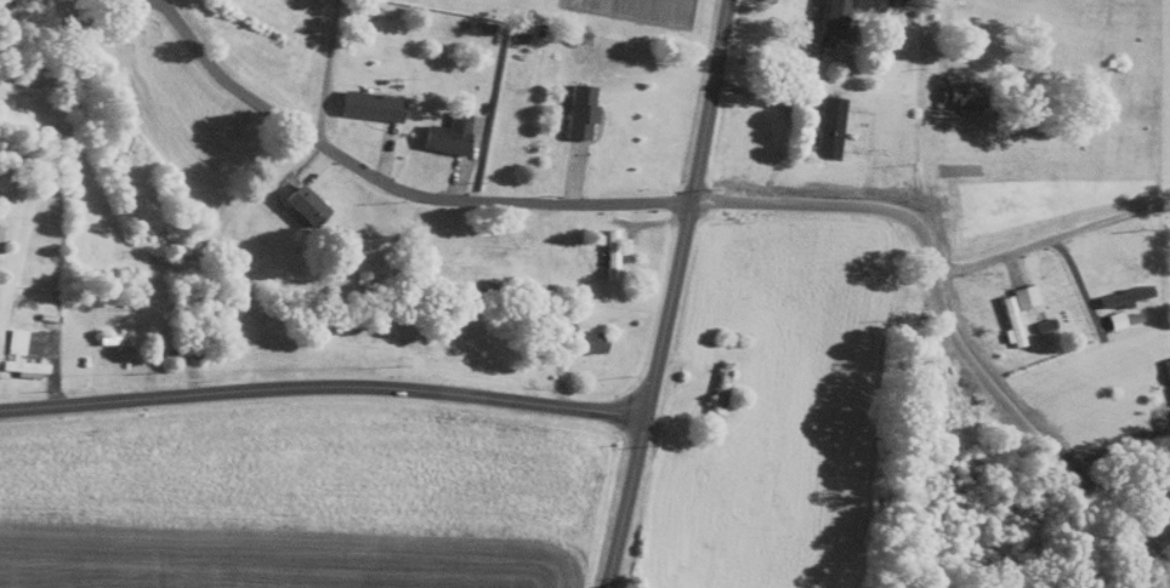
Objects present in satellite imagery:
building: (829, 19)
road: (178, 27)
road: (78, 57)
road: (328, 72)
building: (959, 97)
building: (363, 107)
building: (579, 114)
building: (825, 130)
building: (445, 136)
road: (422, 198)
building: (302, 206)
road: (1051, 240)
building: (609, 256)
road: (674, 295)
building: (1123, 298)
building: (553, 307)
building: (1013, 314)
road: (948, 321)
building: (114, 342)
building: (586, 343)
building: (200, 352)
building: (22, 360)
building: (1166, 371)
road: (323, 388)
building: (720, 389)

